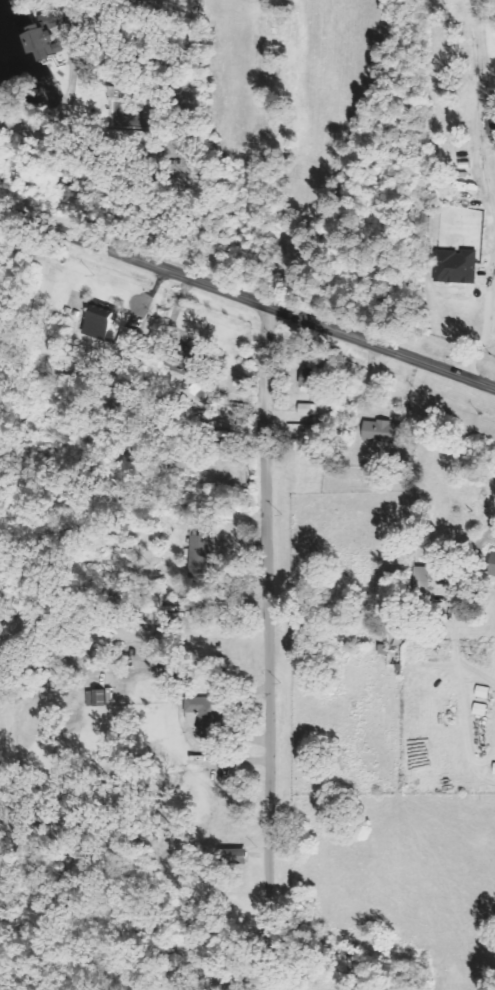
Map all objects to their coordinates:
building: (52, 35)
building: (489, 123)
building: (453, 265)
road: (246, 297)
building: (110, 328)
building: (191, 359)
building: (312, 378)
building: (309, 409)
building: (386, 432)
building: (205, 557)
building: (493, 568)
building: (427, 581)
road: (275, 648)
building: (209, 721)

